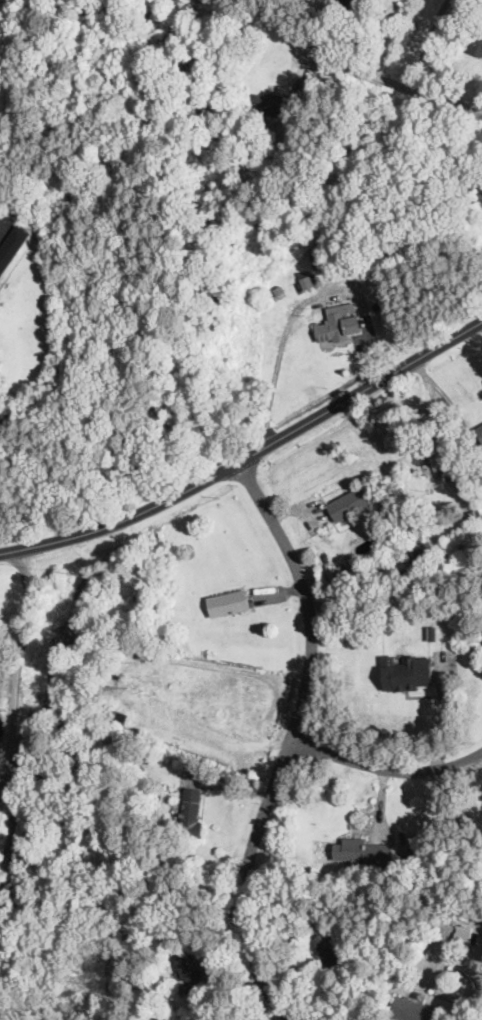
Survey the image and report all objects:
building: (365, 1)
building: (345, 4)
building: (477, 45)
road: (387, 82)
building: (270, 104)
road: (5, 223)
parking lot: (5, 228)
building: (12, 249)
building: (316, 258)
building: (305, 280)
building: (279, 291)
road: (304, 300)
building: (338, 330)
road: (455, 412)
road: (440, 413)
building: (480, 431)
road: (248, 456)
building: (437, 457)
building: (349, 505)
building: (472, 513)
building: (419, 557)
building: (229, 604)
building: (481, 634)
building: (433, 635)
building: (163, 637)
building: (25, 667)
road: (19, 668)
building: (407, 674)
road: (209, 731)
road: (289, 741)
road: (481, 756)
building: (140, 757)
road: (385, 769)
building: (191, 815)
building: (359, 852)
building: (410, 864)
building: (463, 937)
building: (328, 950)
building: (190, 971)
building: (412, 1010)

